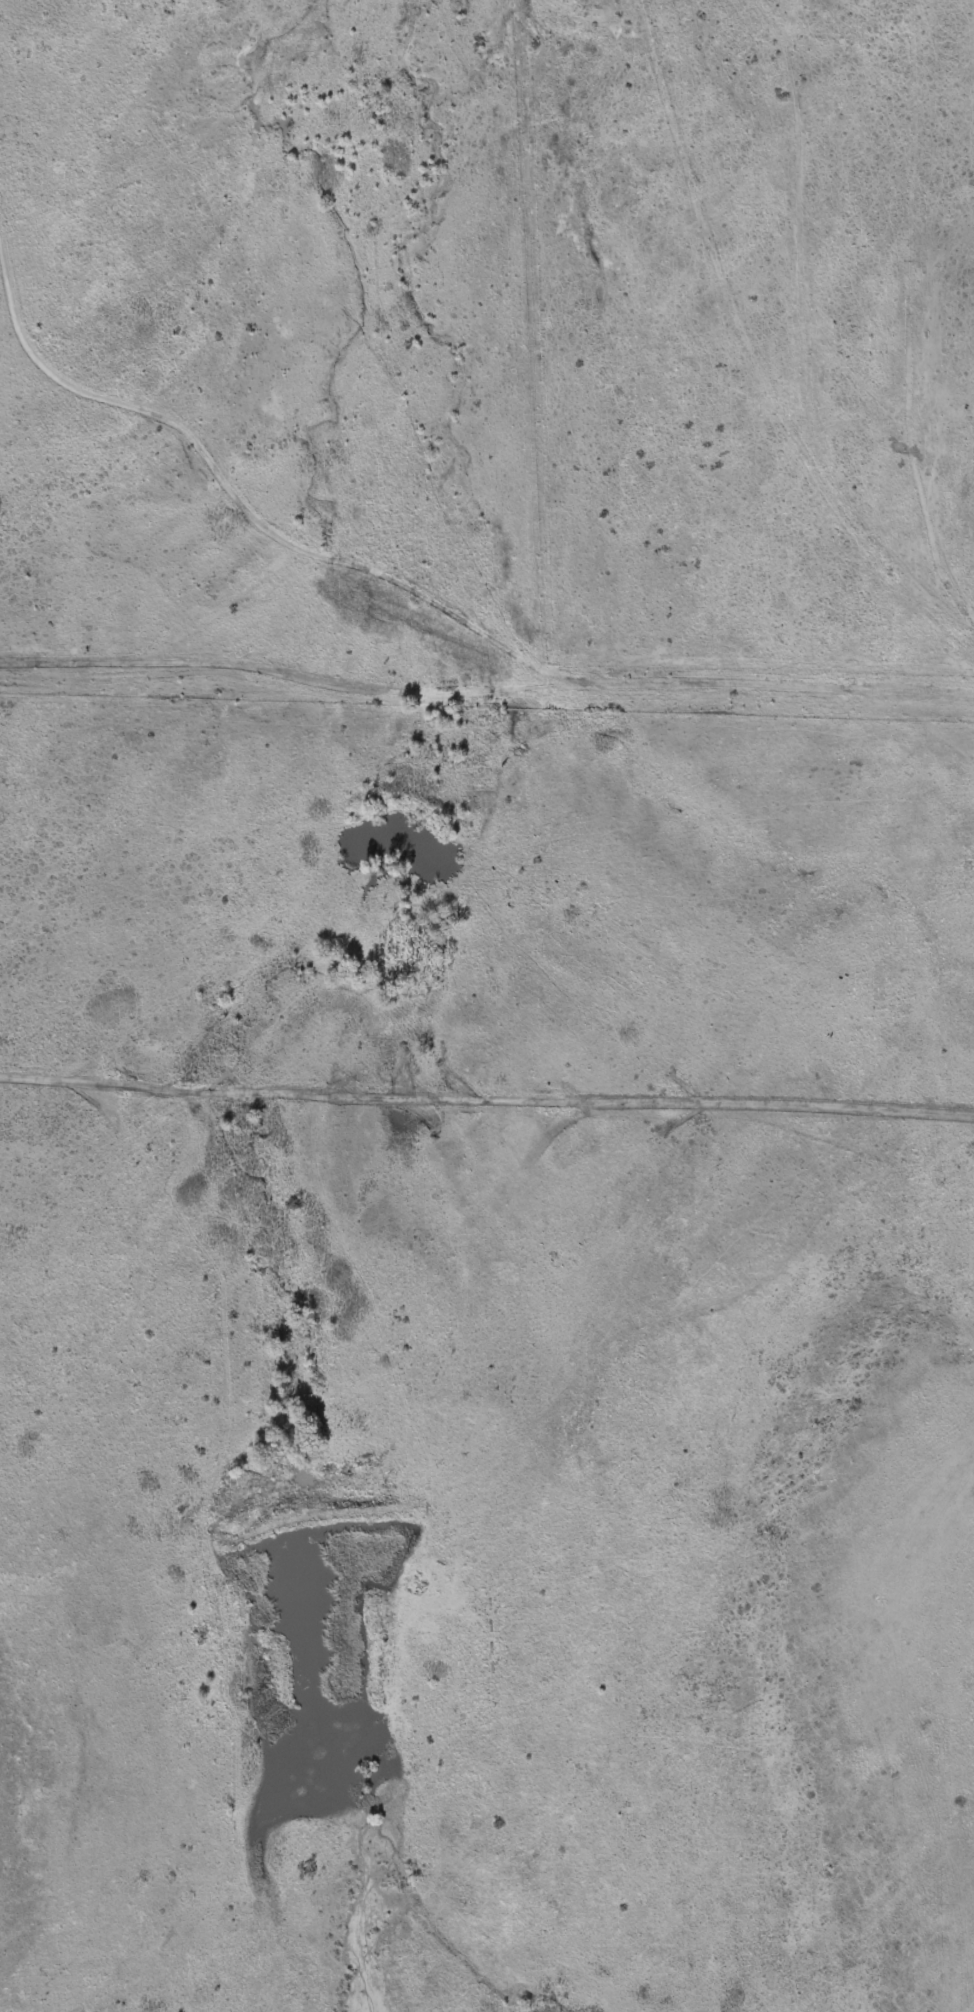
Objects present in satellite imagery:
road: (247, 455)
road: (491, 687)

